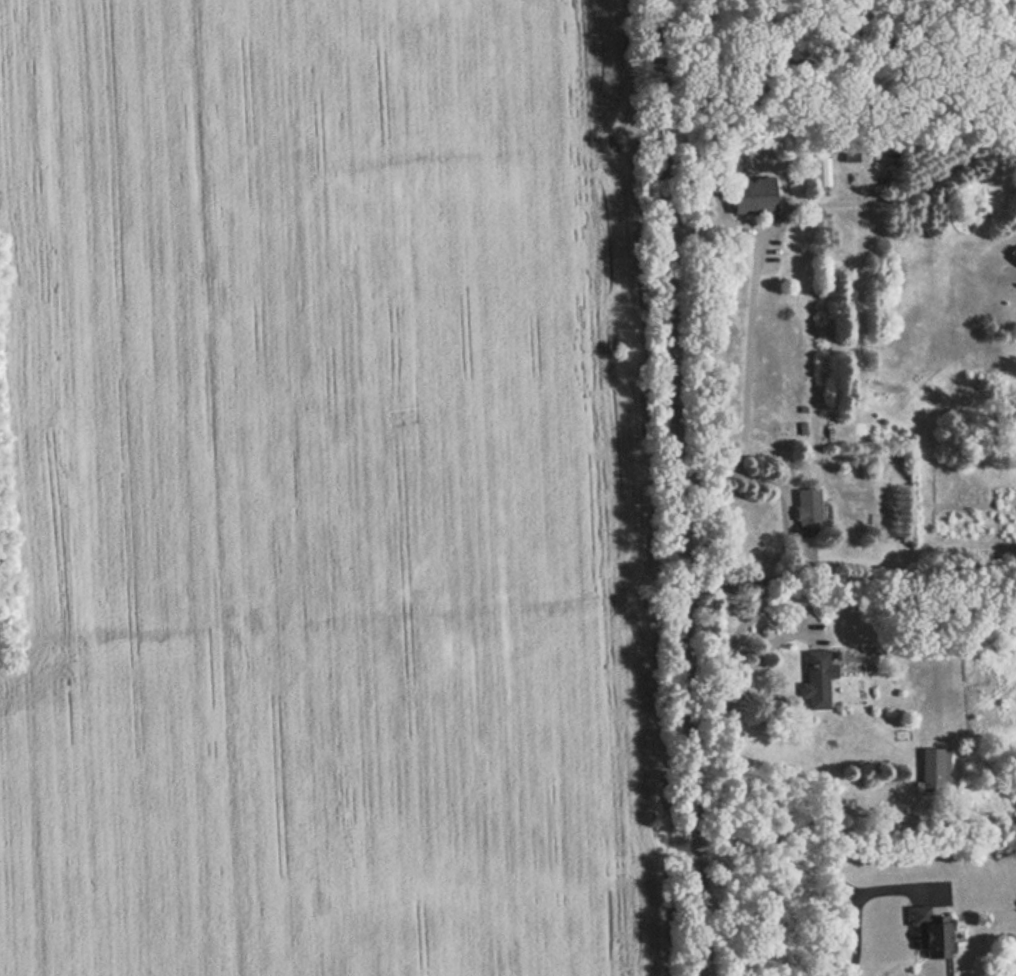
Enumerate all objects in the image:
building: (751, 198)
road: (714, 223)
road: (762, 241)
building: (1014, 252)
building: (859, 374)
road: (769, 477)
road: (677, 487)
building: (808, 512)
road: (800, 619)
building: (817, 678)
building: (934, 771)
road: (856, 907)
building: (928, 930)

